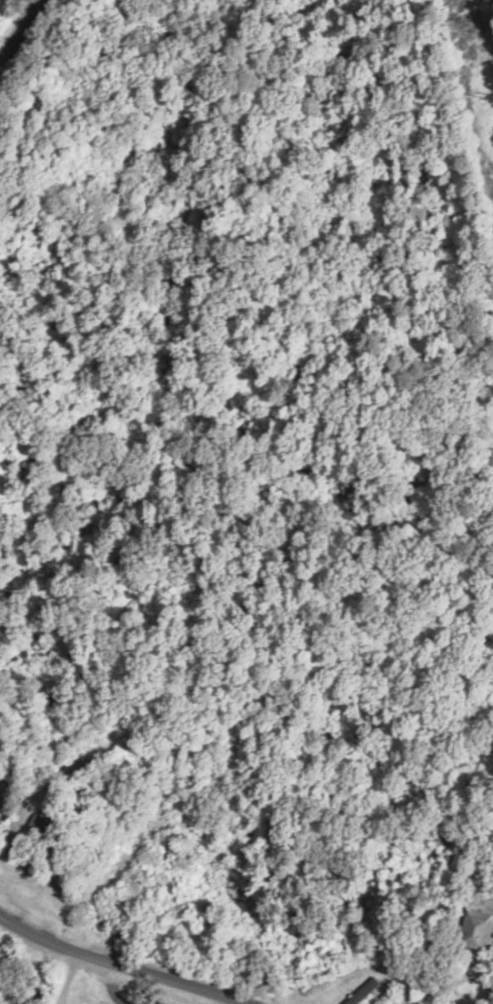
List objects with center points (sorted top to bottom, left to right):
road: (22, 32)
building: (43, 827)
building: (479, 930)
road: (116, 964)
road: (62, 978)
building: (25, 995)
building: (336, 999)
building: (406, 1003)

